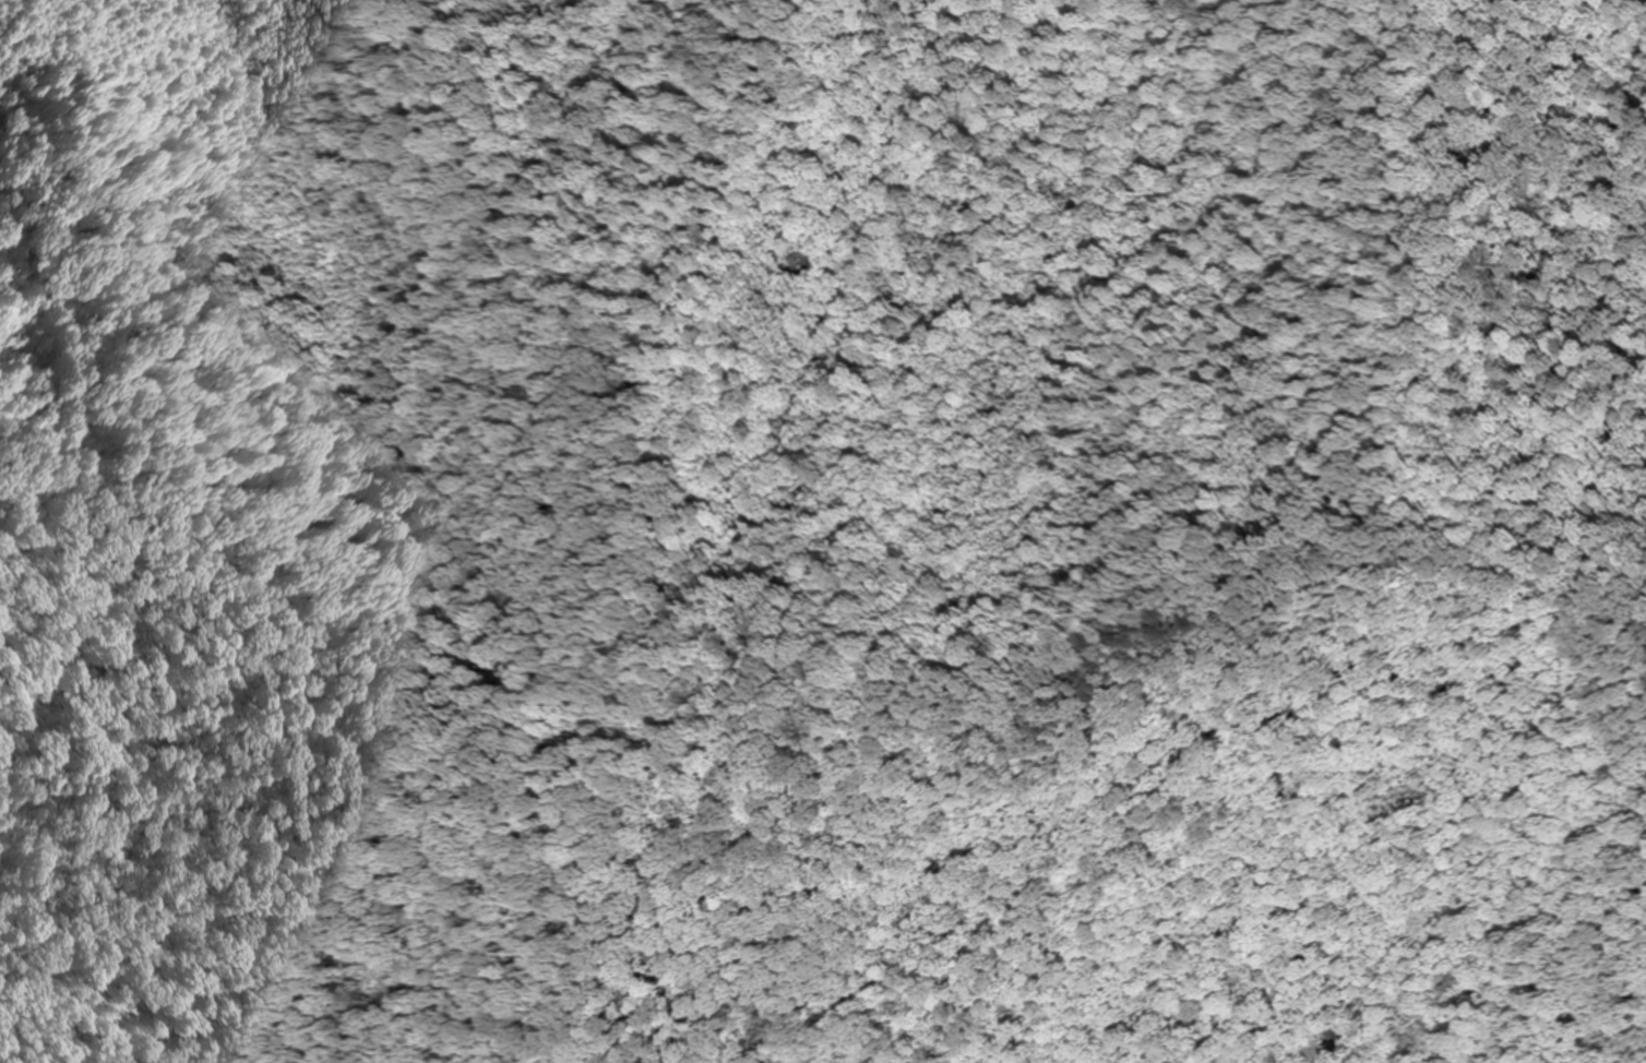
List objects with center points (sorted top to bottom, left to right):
road: (1511, 924)
road: (1552, 931)

